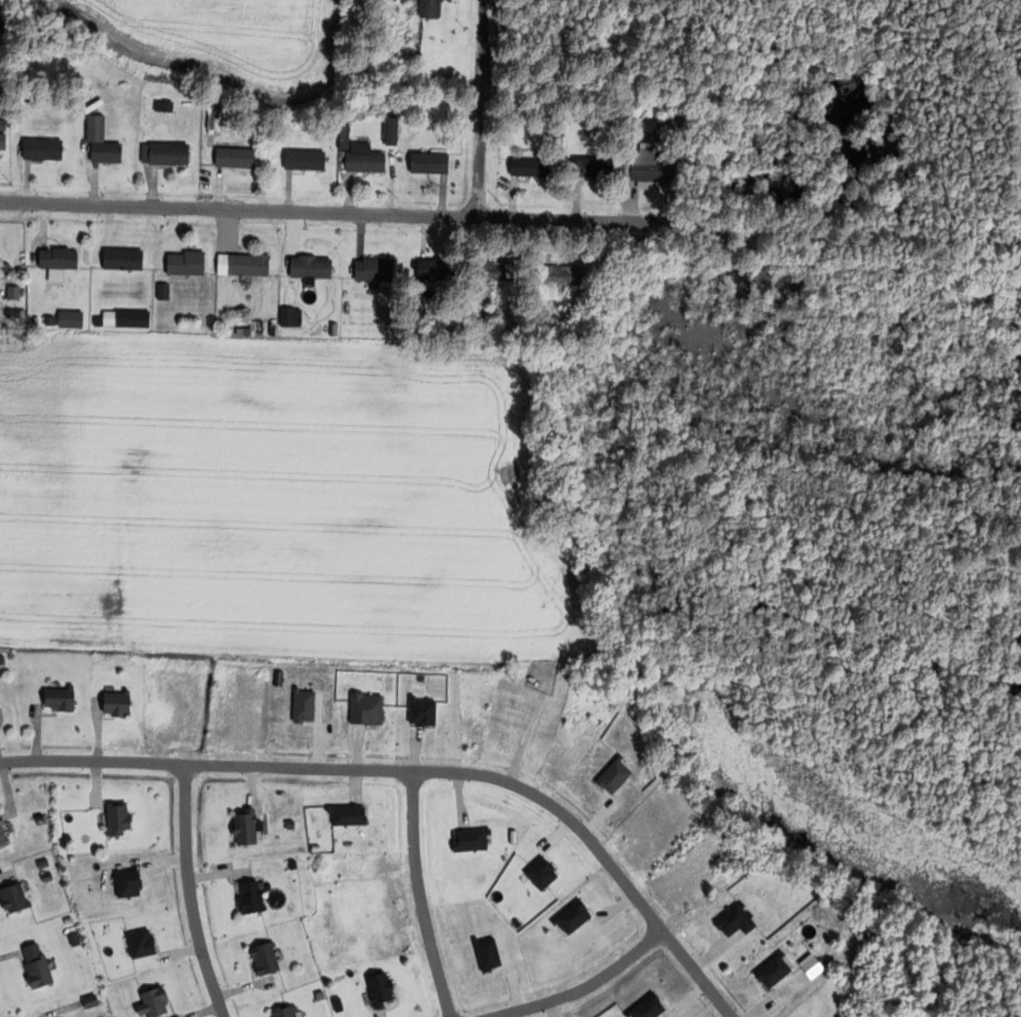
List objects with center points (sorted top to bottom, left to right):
building: (434, 8)
road: (484, 111)
building: (221, 121)
building: (104, 142)
building: (45, 149)
building: (167, 154)
building: (238, 158)
building: (367, 158)
building: (308, 160)
building: (433, 162)
building: (533, 167)
building: (596, 167)
building: (651, 169)
road: (339, 212)
building: (61, 258)
building: (126, 259)
building: (188, 263)
building: (246, 264)
building: (314, 267)
building: (376, 270)
building: (445, 270)
building: (504, 271)
building: (566, 275)
building: (128, 317)
building: (293, 317)
building: (73, 318)
building: (62, 699)
building: (119, 703)
road: (420, 770)
building: (121, 818)
building: (249, 826)
road: (193, 892)
road: (421, 895)
building: (254, 897)
building: (16, 898)
building: (268, 958)
building: (41, 971)
road: (582, 987)
building: (384, 988)
building: (156, 1003)
building: (289, 1012)

